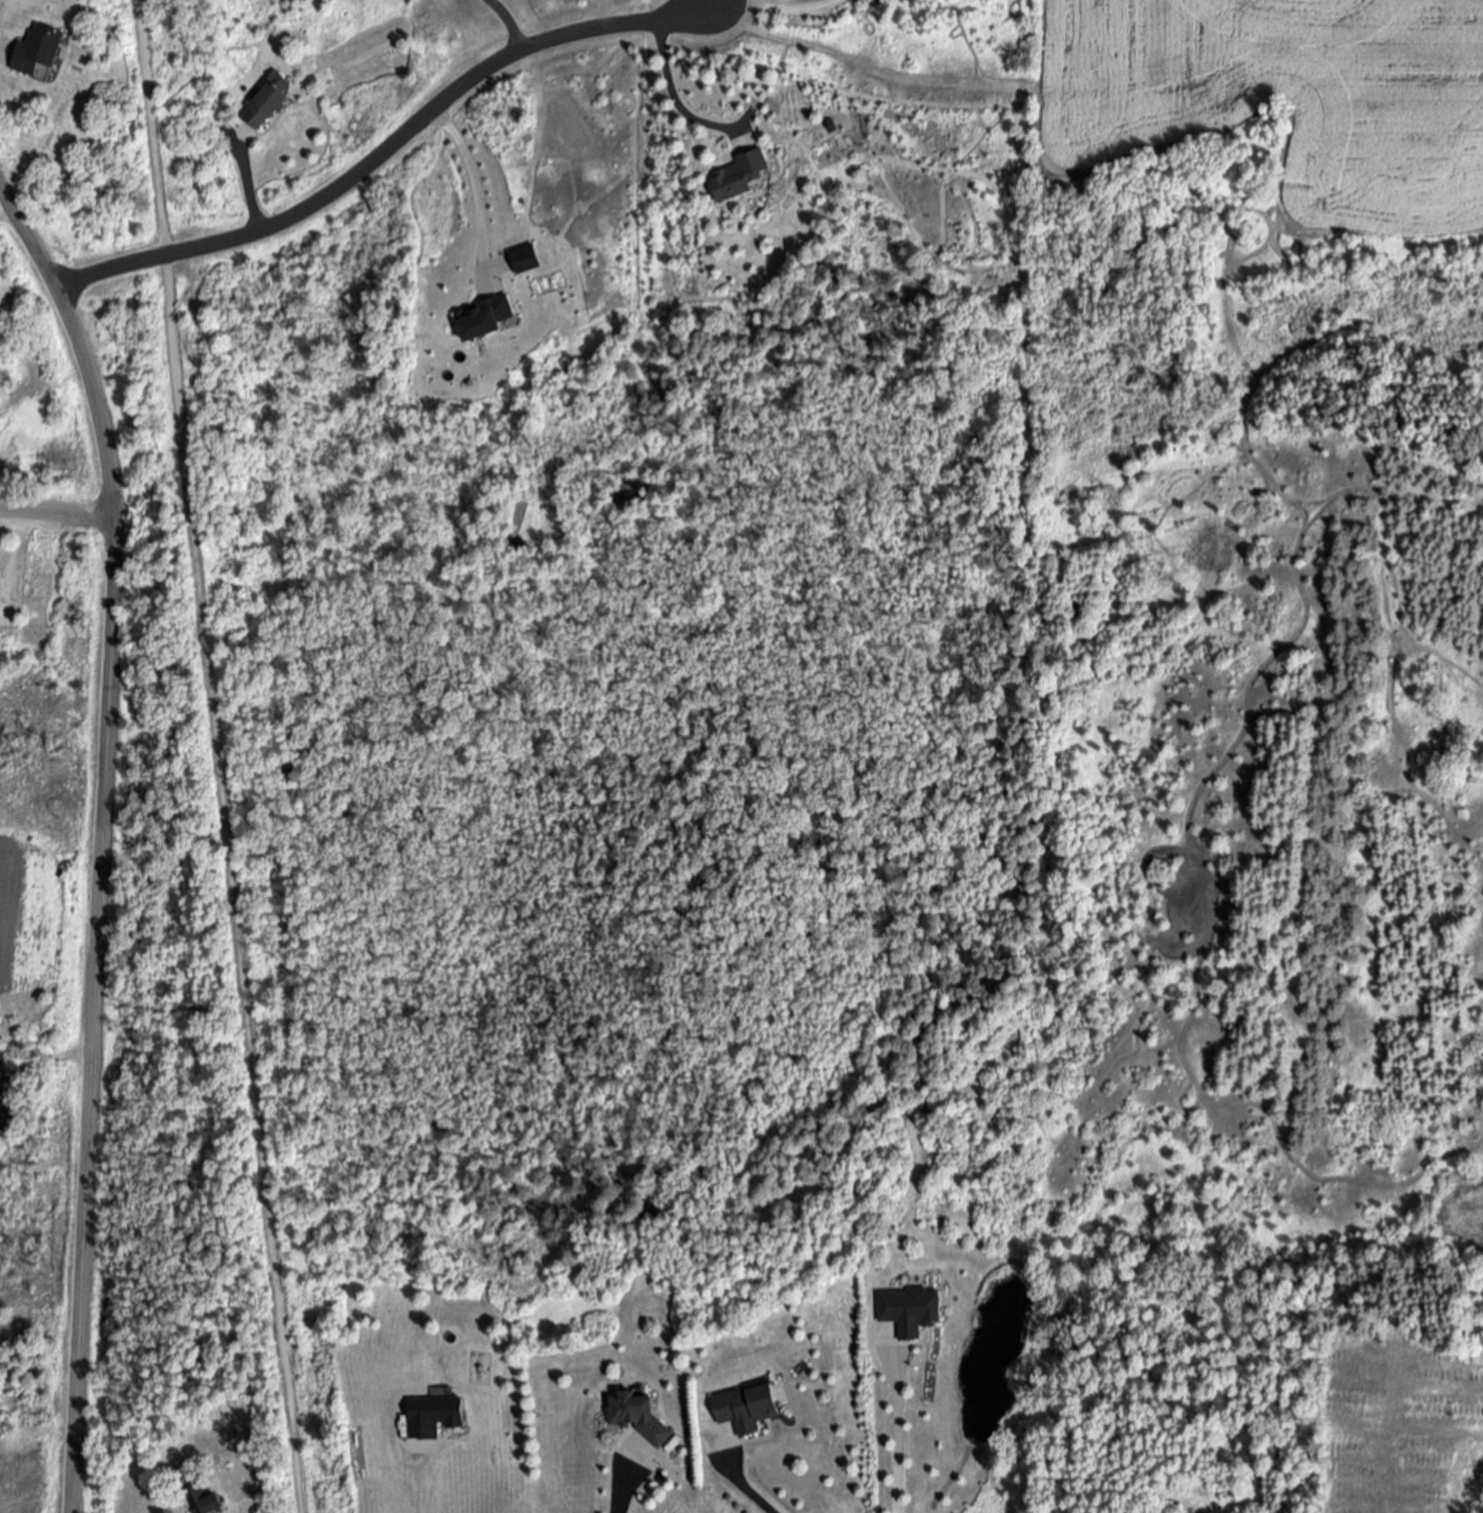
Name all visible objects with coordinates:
road: (774, 8)
road: (510, 21)
building: (38, 54)
road: (673, 95)
building: (265, 107)
road: (388, 151)
building: (740, 175)
road: (475, 181)
road: (250, 188)
road: (7, 212)
building: (510, 264)
building: (486, 318)
road: (58, 514)
building: (0, 585)
road: (217, 756)
road: (102, 837)
building: (3, 1058)
road: (49, 1064)
building: (8, 1120)
building: (907, 1305)
building: (747, 1407)
building: (436, 1414)
building: (640, 1418)
road: (1441, 1433)
road: (886, 1439)
road: (425, 1484)
road: (620, 1489)
road: (748, 1492)
building: (202, 1501)

